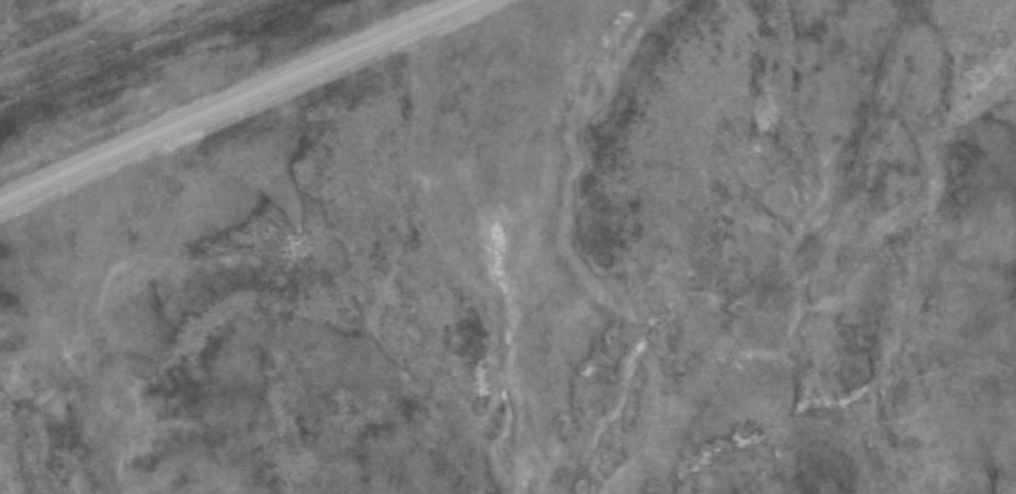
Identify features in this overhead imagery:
railway: (113, 45)
road: (241, 101)

